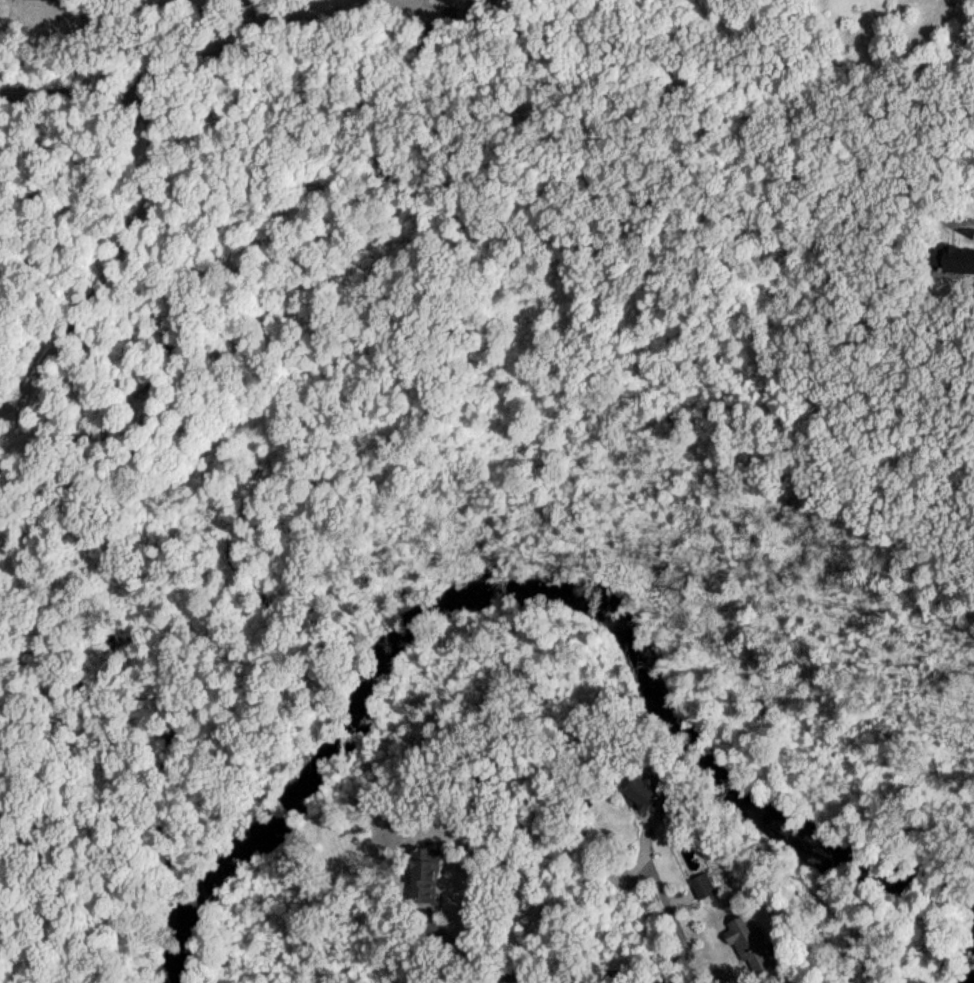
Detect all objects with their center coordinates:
building: (31, 2)
road: (939, 160)
building: (950, 265)
building: (647, 804)
building: (421, 886)
building: (701, 890)
road: (676, 928)
road: (444, 942)
building: (749, 948)
road: (576, 967)

